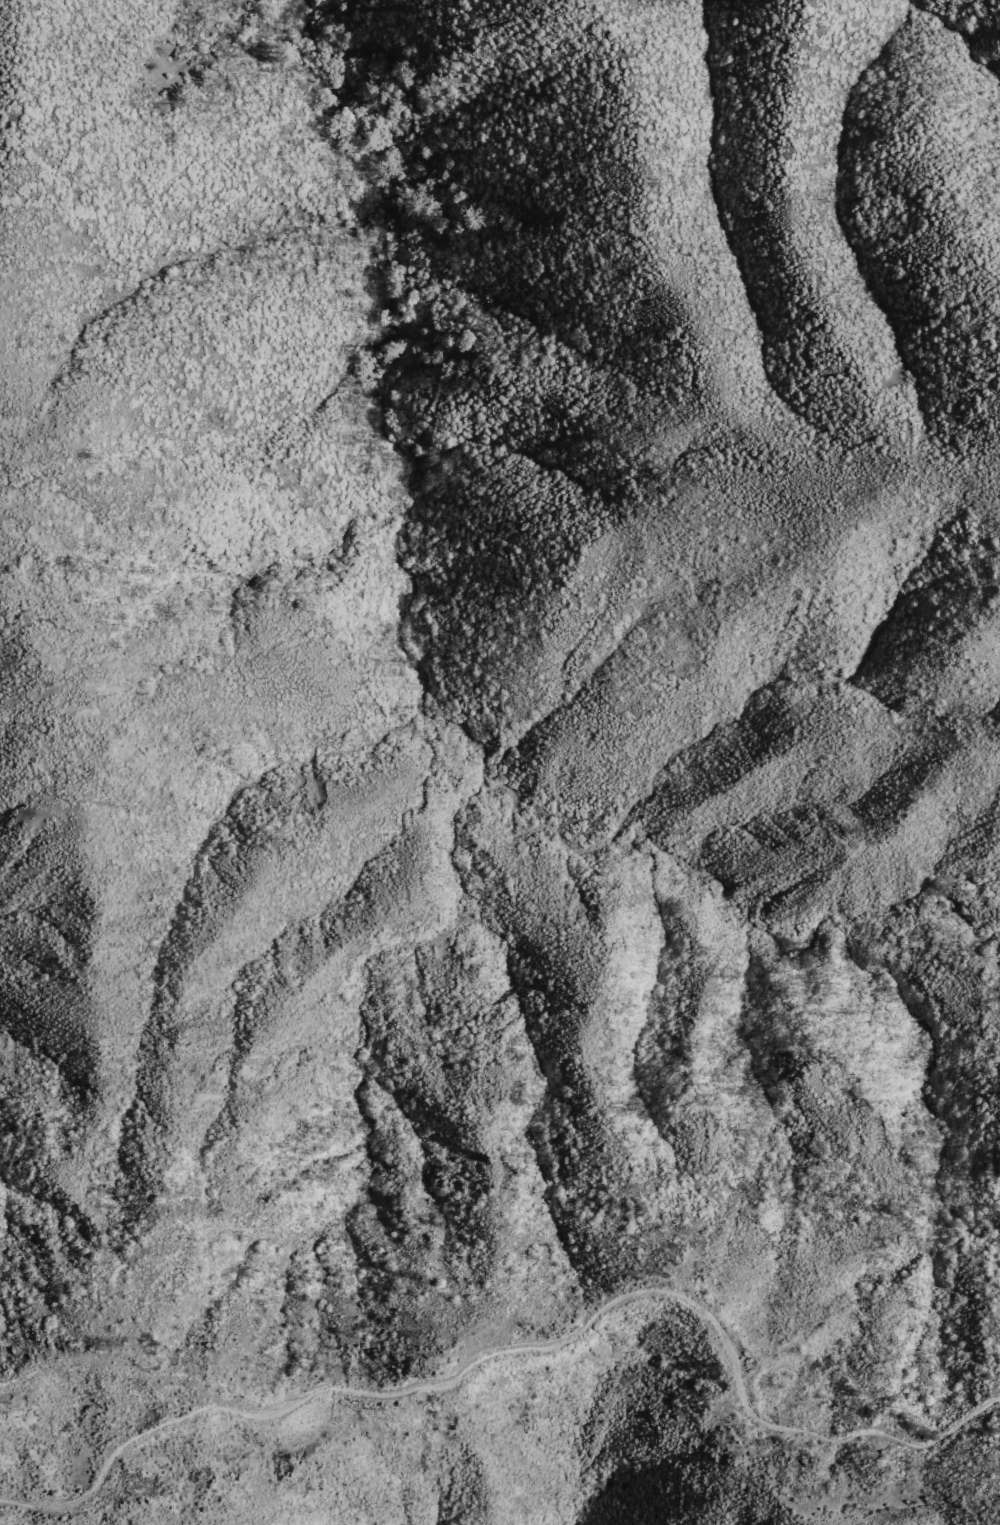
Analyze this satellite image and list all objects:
road: (534, 1350)

